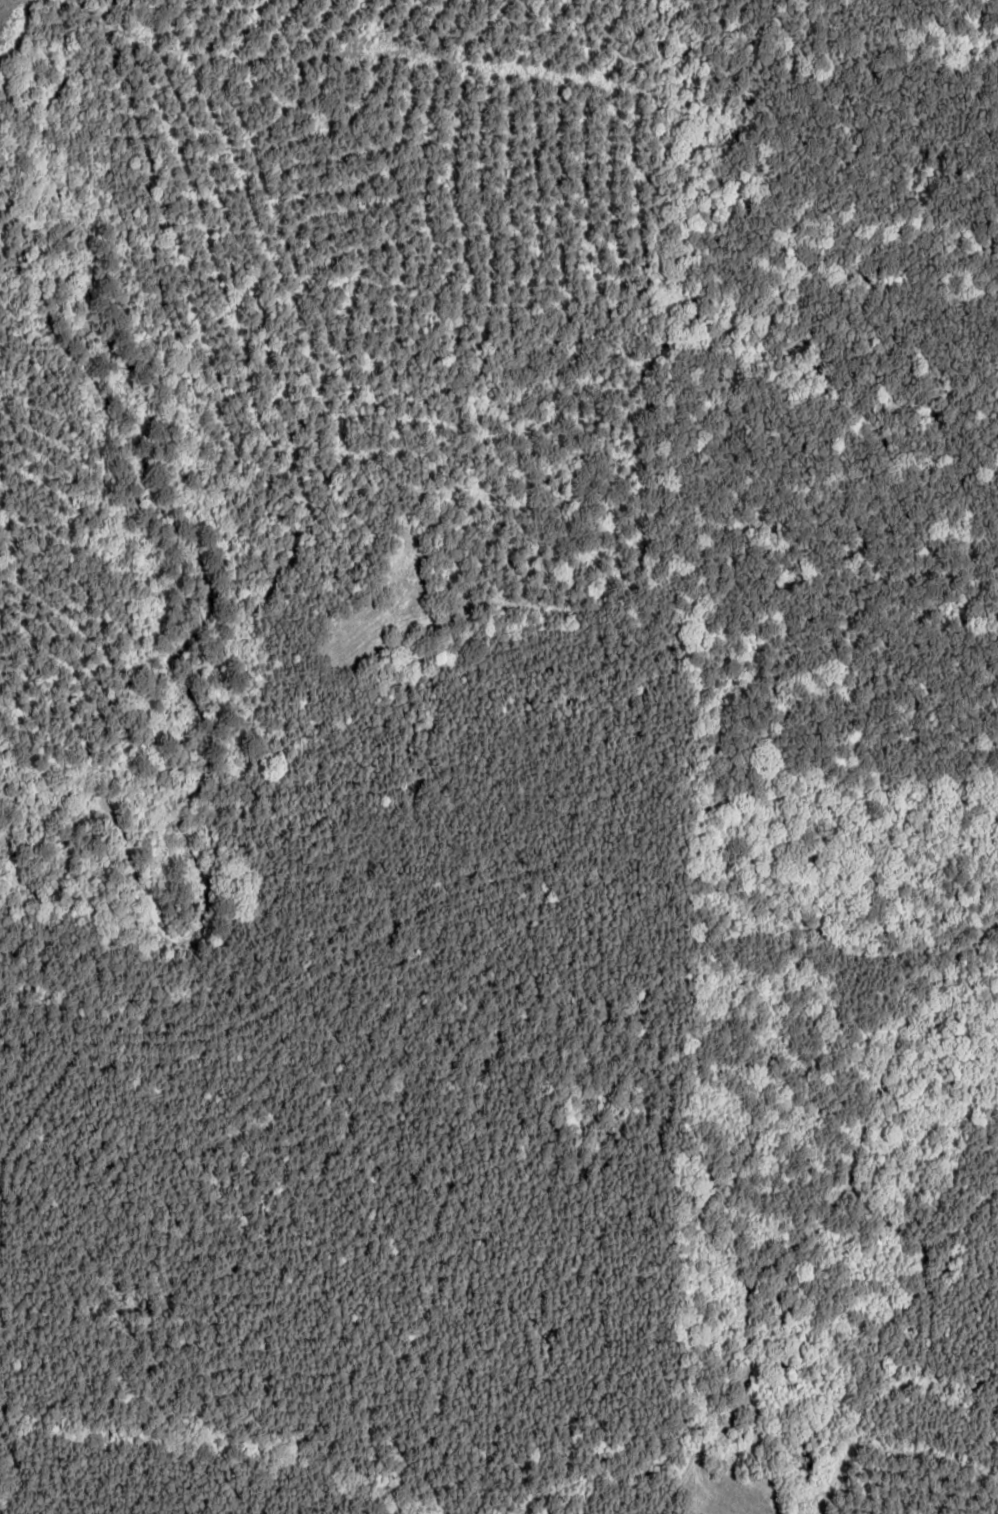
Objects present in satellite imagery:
road: (810, 1236)

